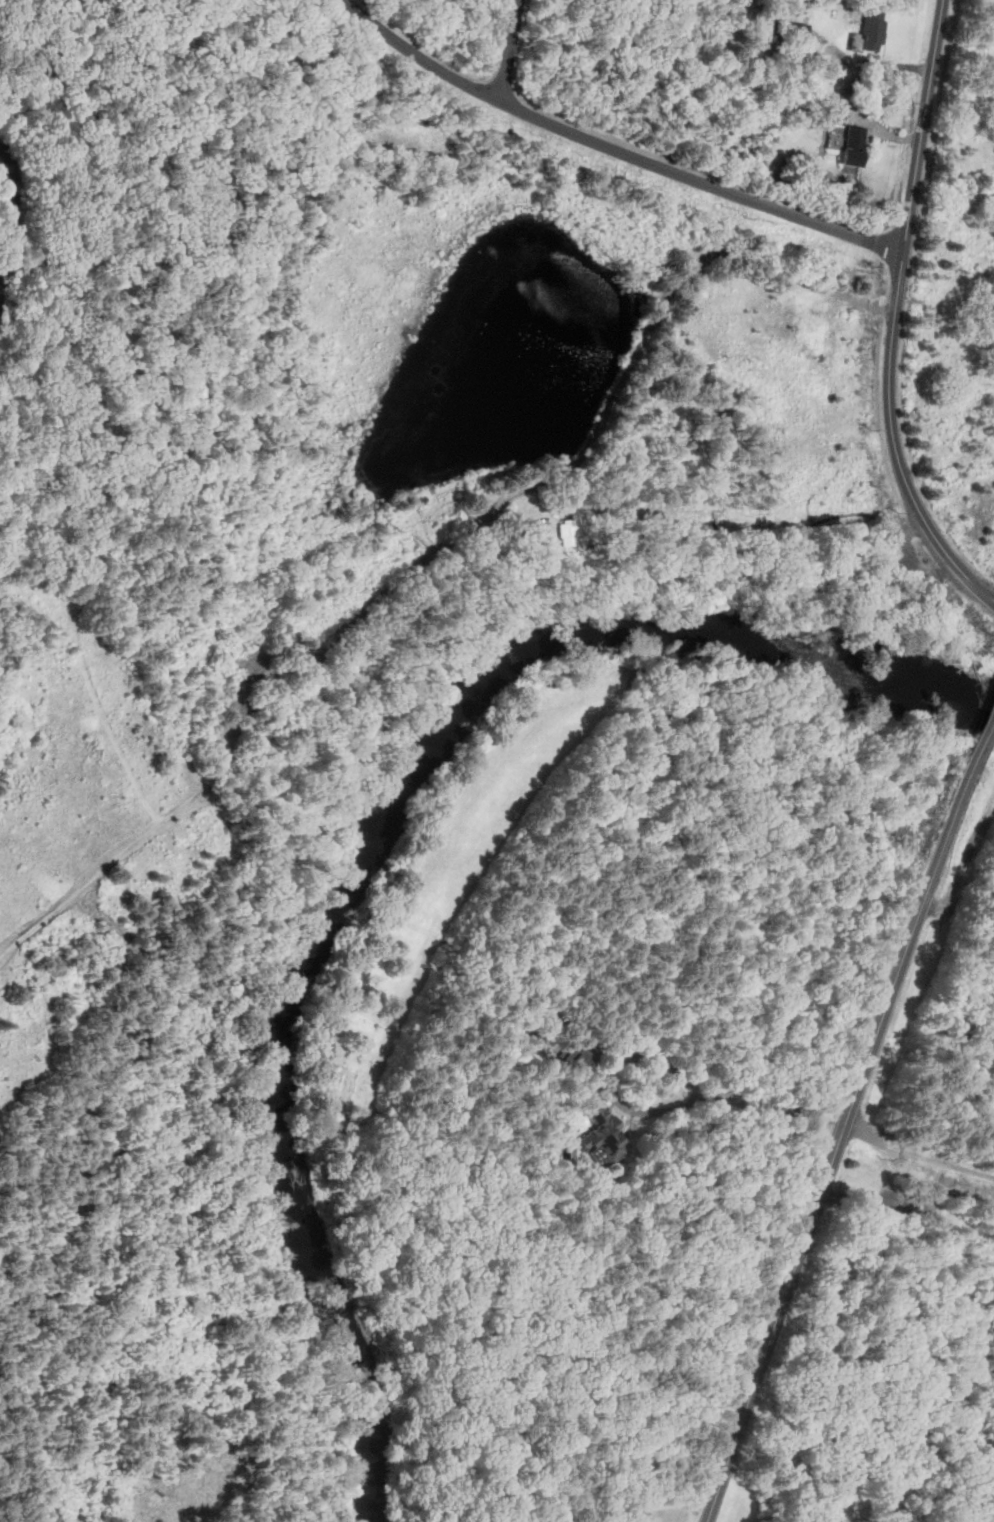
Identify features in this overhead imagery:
building: (792, 28)
building: (870, 33)
road: (507, 51)
building: (833, 116)
road: (25, 128)
road: (613, 147)
building: (855, 147)
river: (3, 214)
road: (92, 232)
road: (28, 259)
road: (901, 266)
road: (651, 334)
road: (176, 410)
building: (572, 528)
road: (911, 532)
road: (895, 550)
parking lot: (898, 552)
road: (958, 566)
road: (526, 608)
road: (308, 650)
park: (322, 688)
road: (983, 738)
road: (951, 826)
river: (376, 838)
road: (240, 850)
road: (965, 880)
road: (81, 889)
road: (941, 1031)
building: (580, 1058)
road: (670, 1063)
road: (980, 1113)
road: (992, 1118)
building: (601, 1136)
road: (916, 1155)
road: (866, 1198)
road: (816, 1202)
road: (254, 1220)

